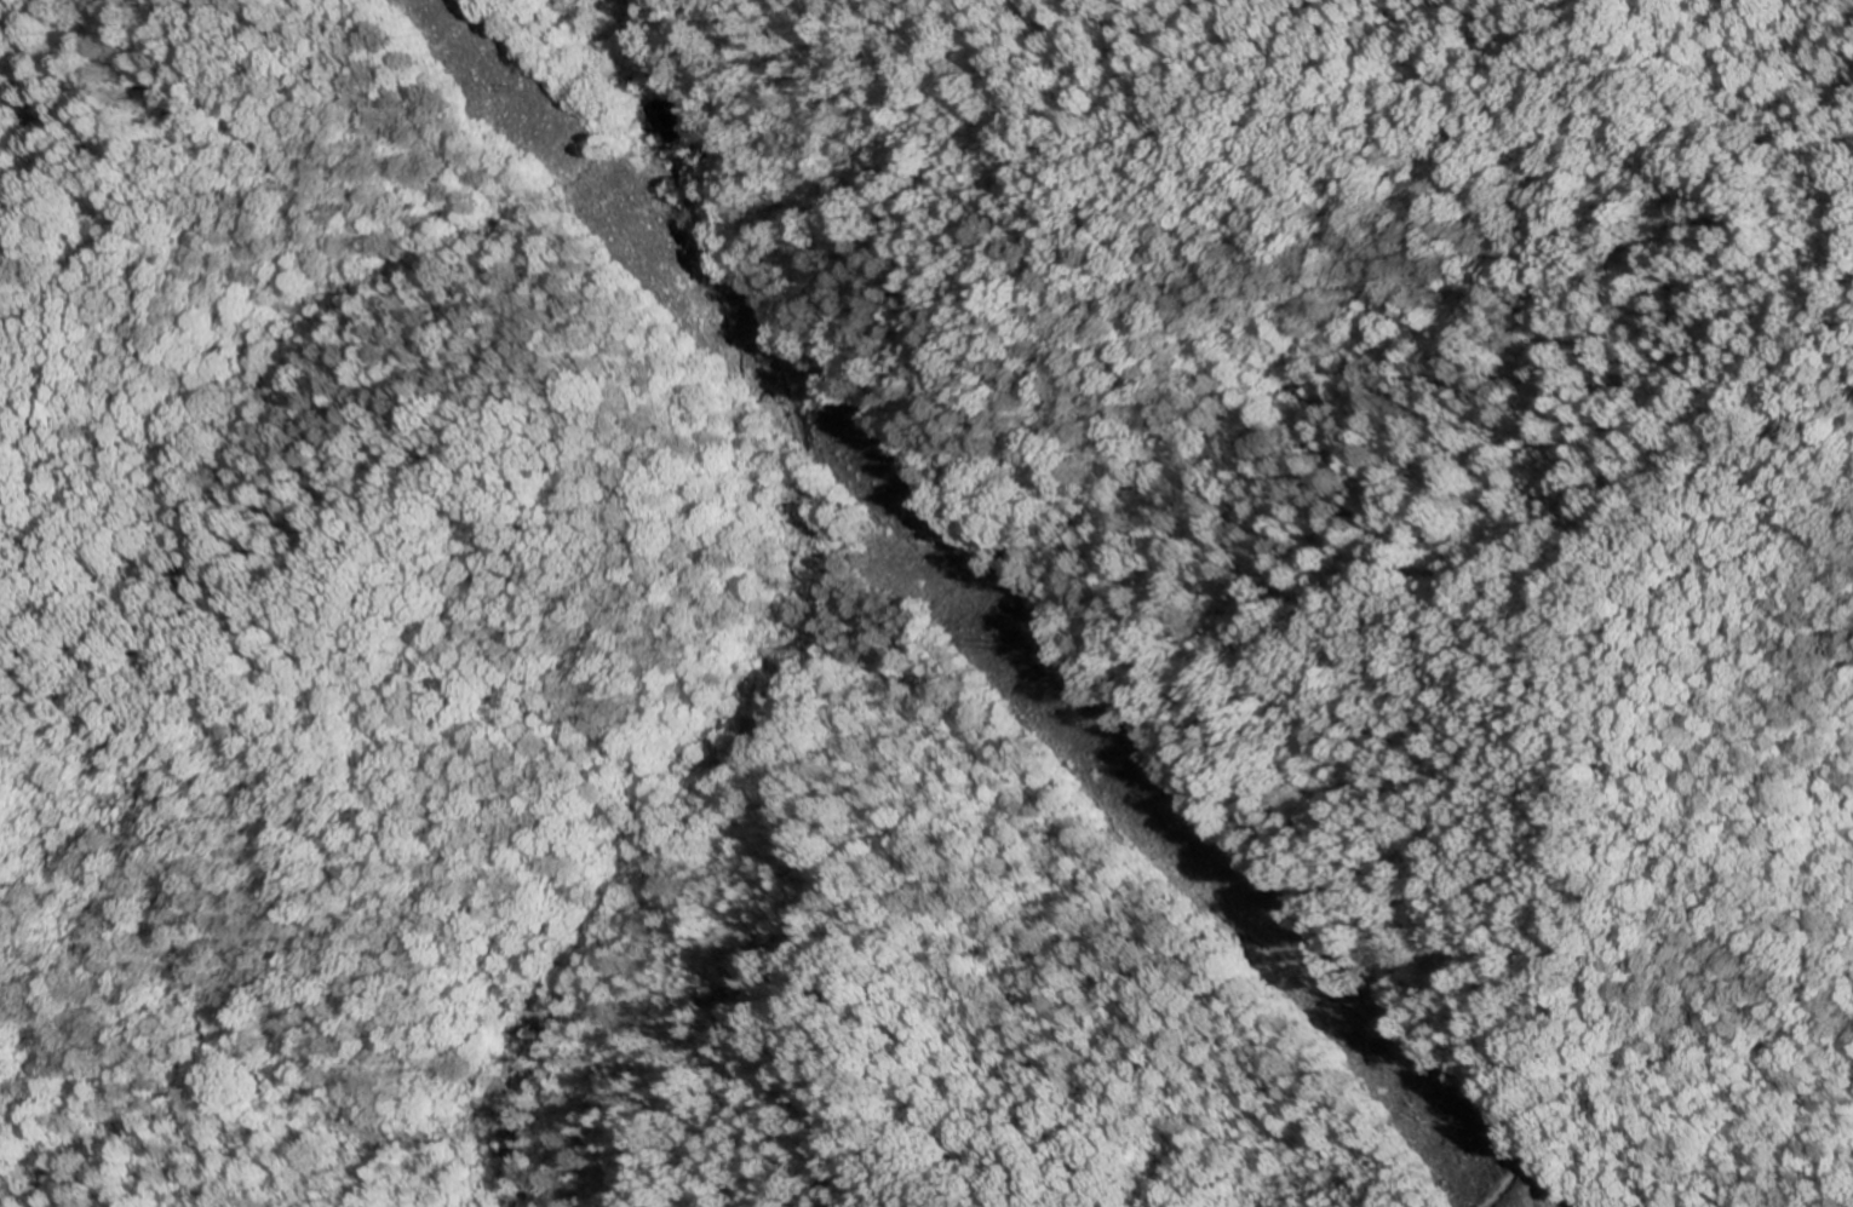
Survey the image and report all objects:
building: (667, 121)
road: (692, 608)

